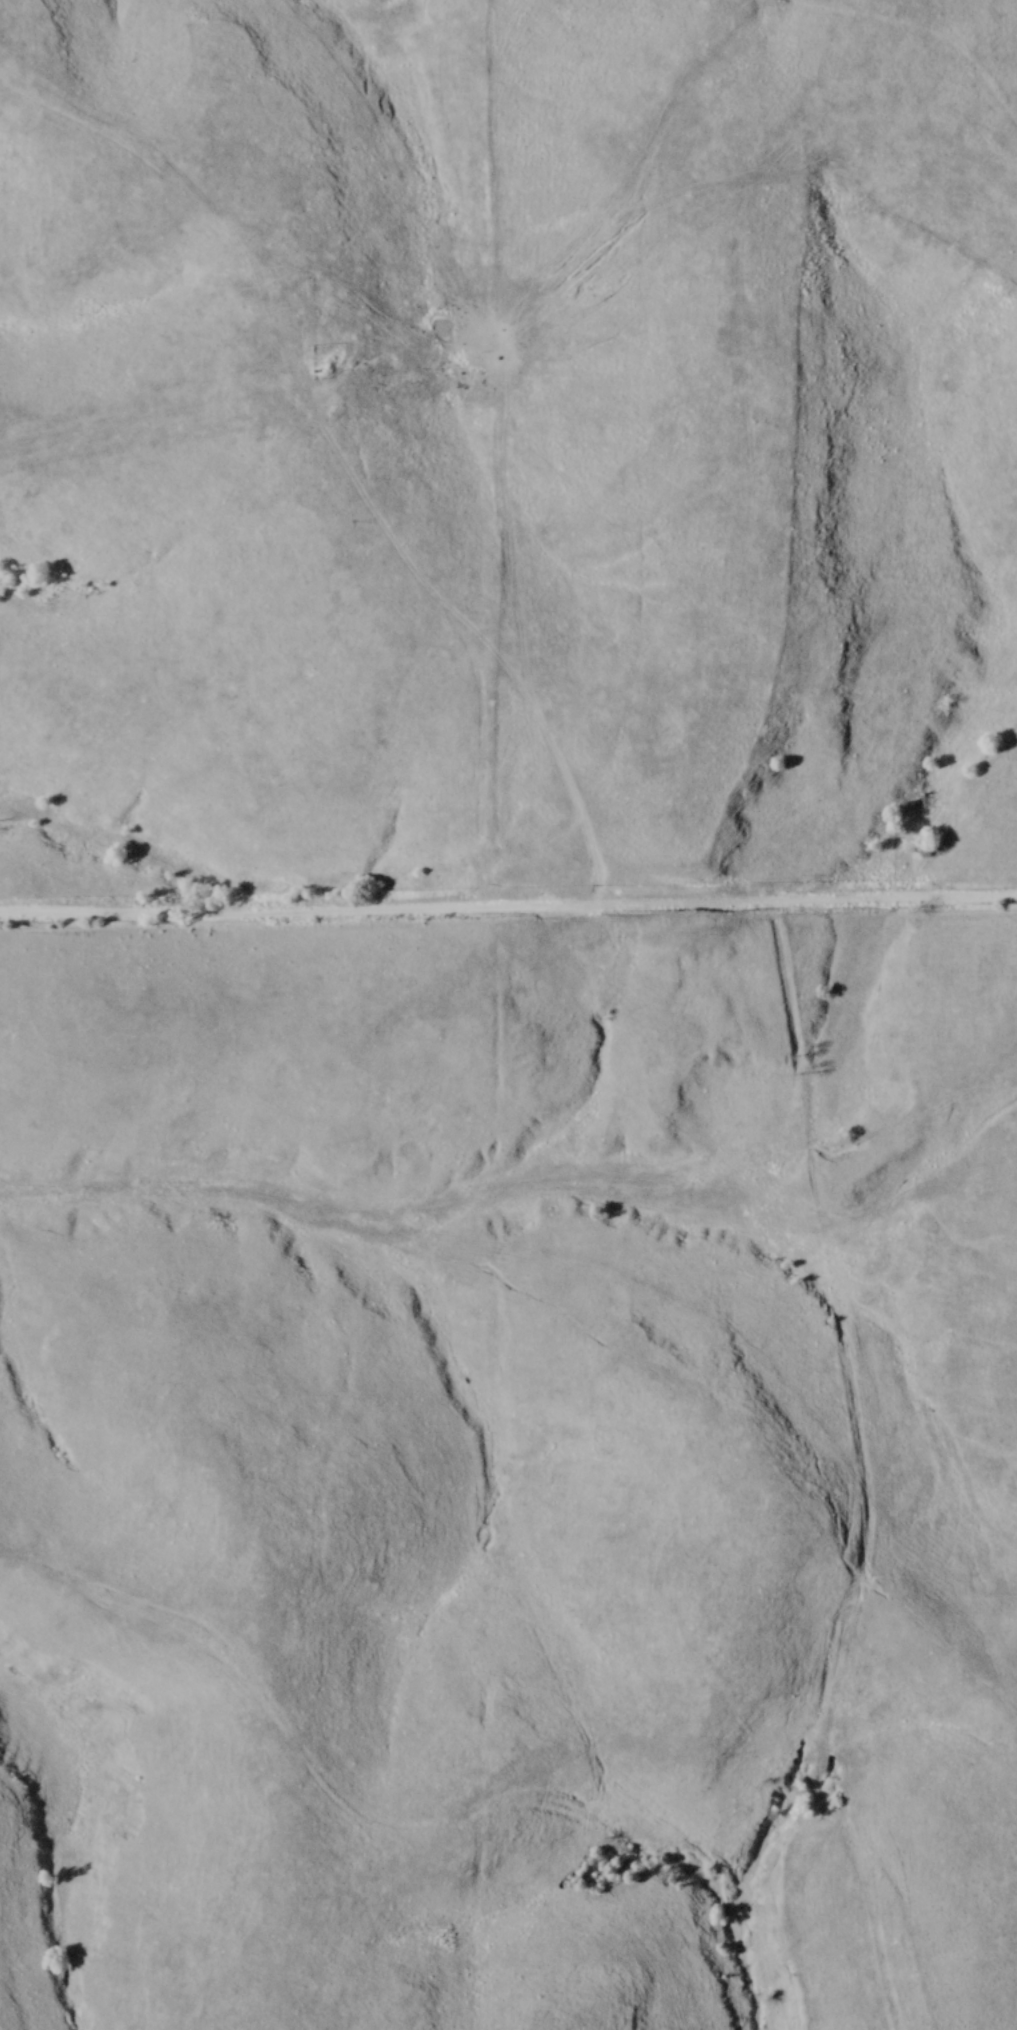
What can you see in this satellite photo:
road: (508, 904)

